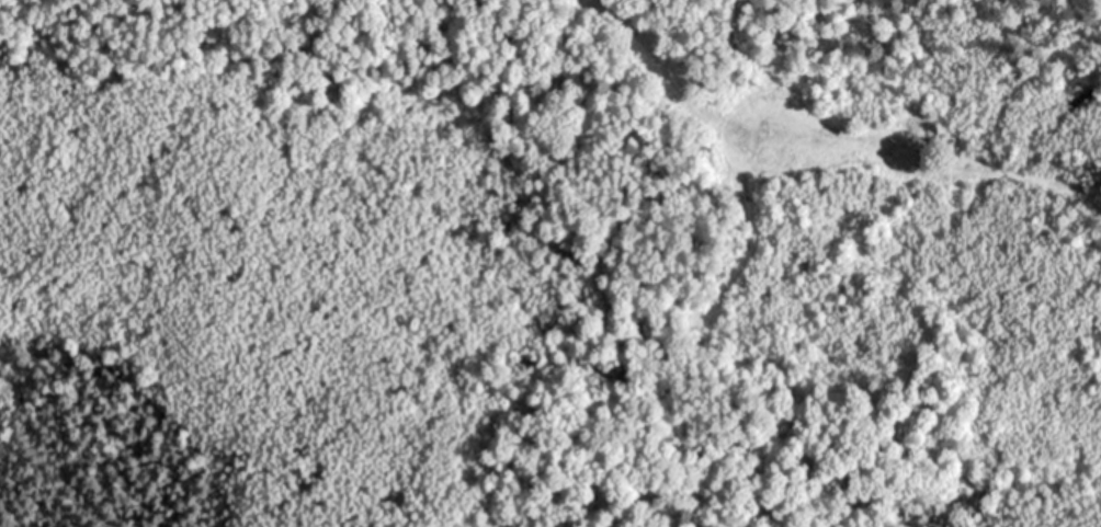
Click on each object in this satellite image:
road: (644, 46)

